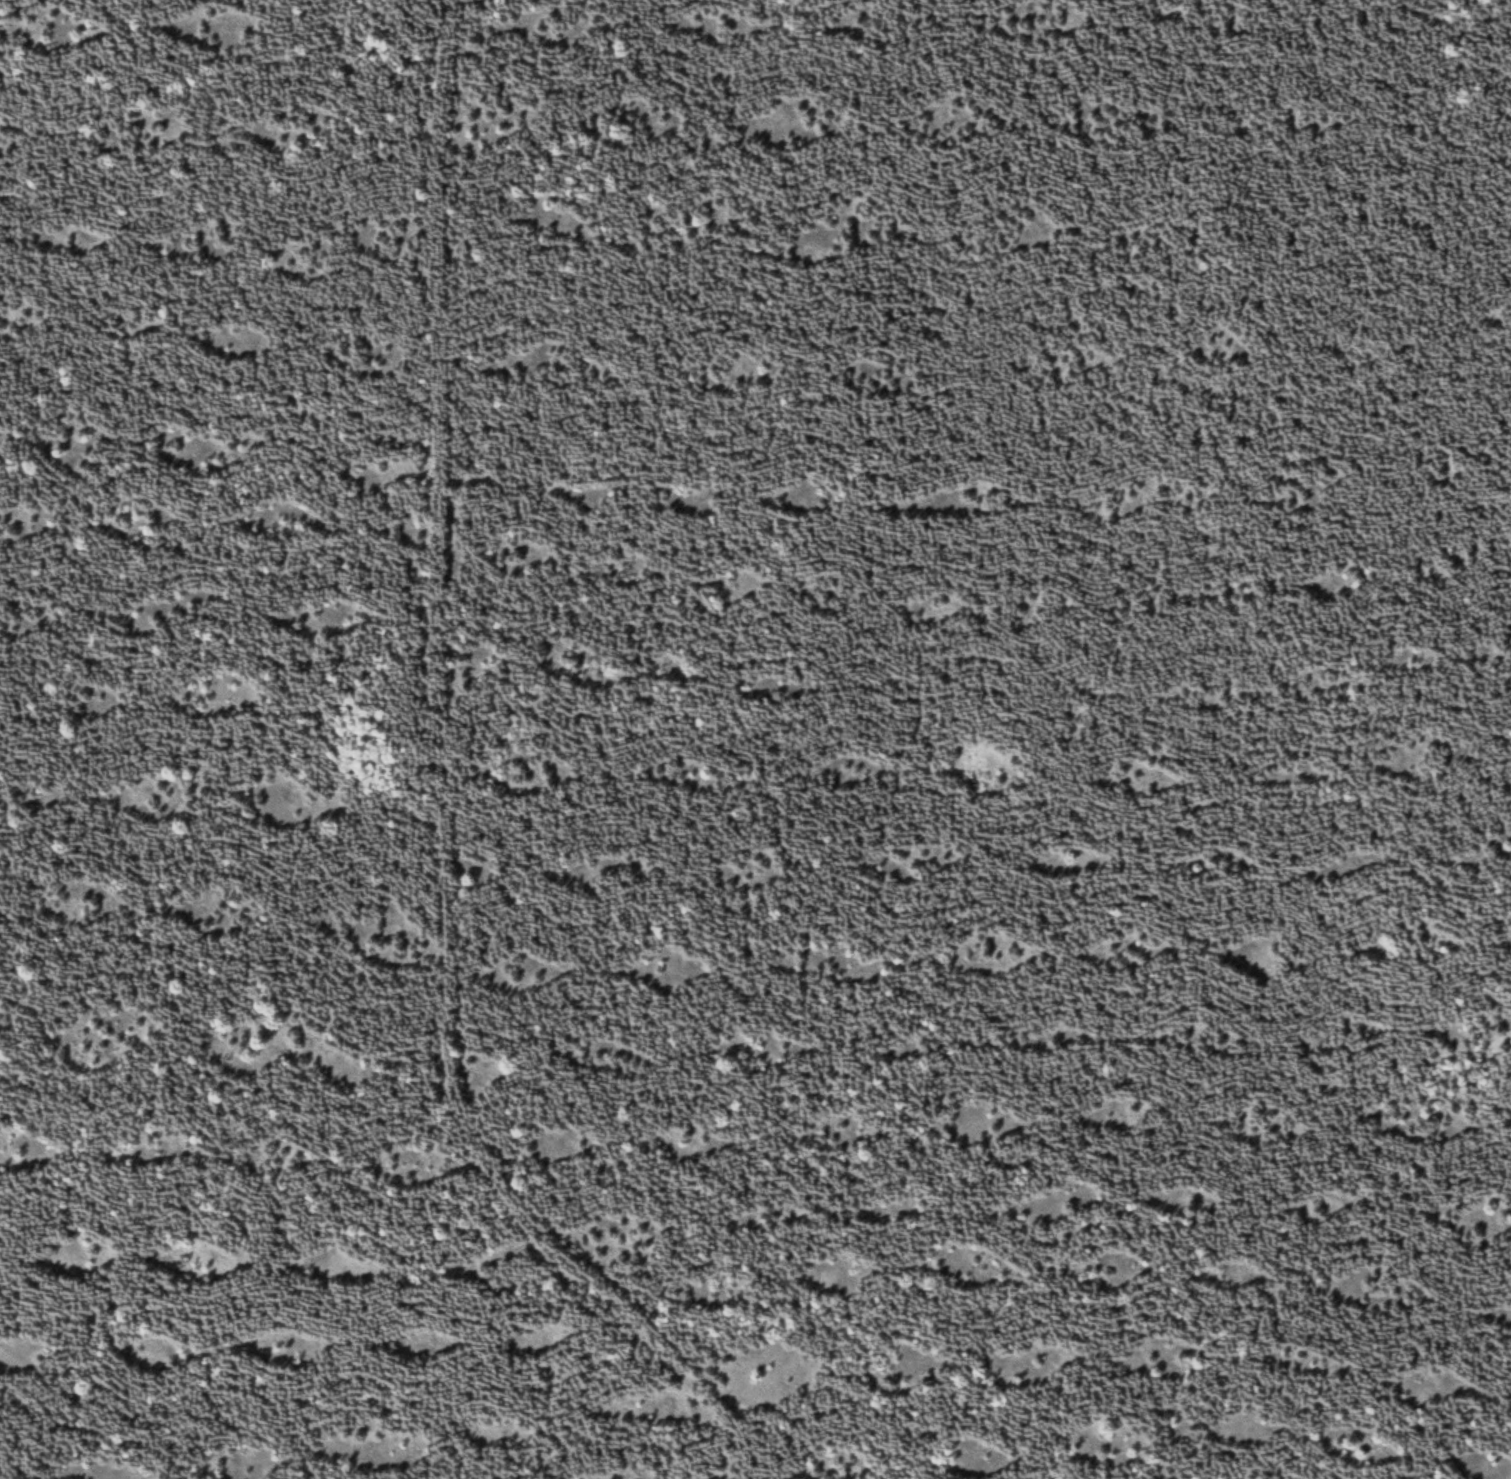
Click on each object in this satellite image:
road: (786, 1434)

